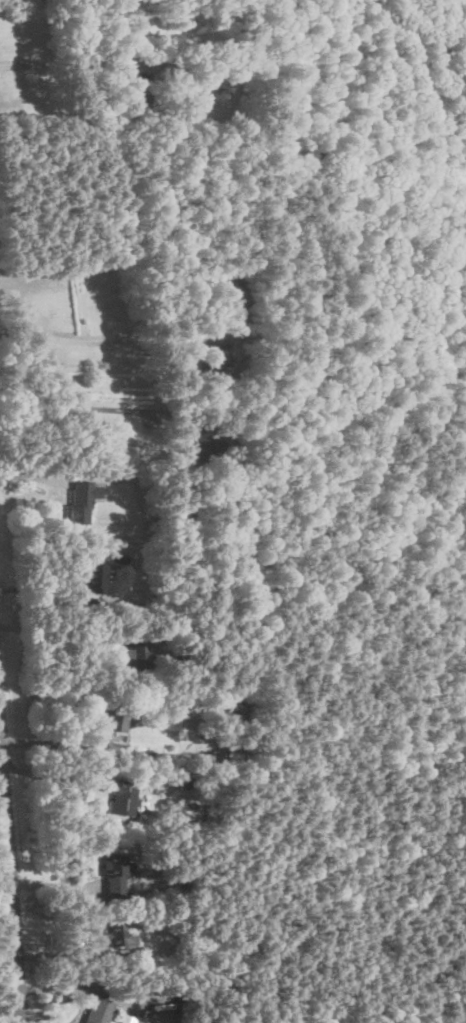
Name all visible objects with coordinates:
road: (47, 60)
building: (135, 89)
building: (230, 302)
road: (72, 338)
building: (213, 366)
road: (75, 406)
building: (82, 500)
building: (180, 517)
building: (93, 579)
building: (133, 658)
building: (226, 709)
building: (118, 720)
road: (108, 751)
road: (3, 771)
road: (55, 784)
building: (123, 798)
road: (12, 853)
road: (7, 869)
building: (114, 874)
building: (119, 936)
road: (11, 1006)
building: (97, 1011)

